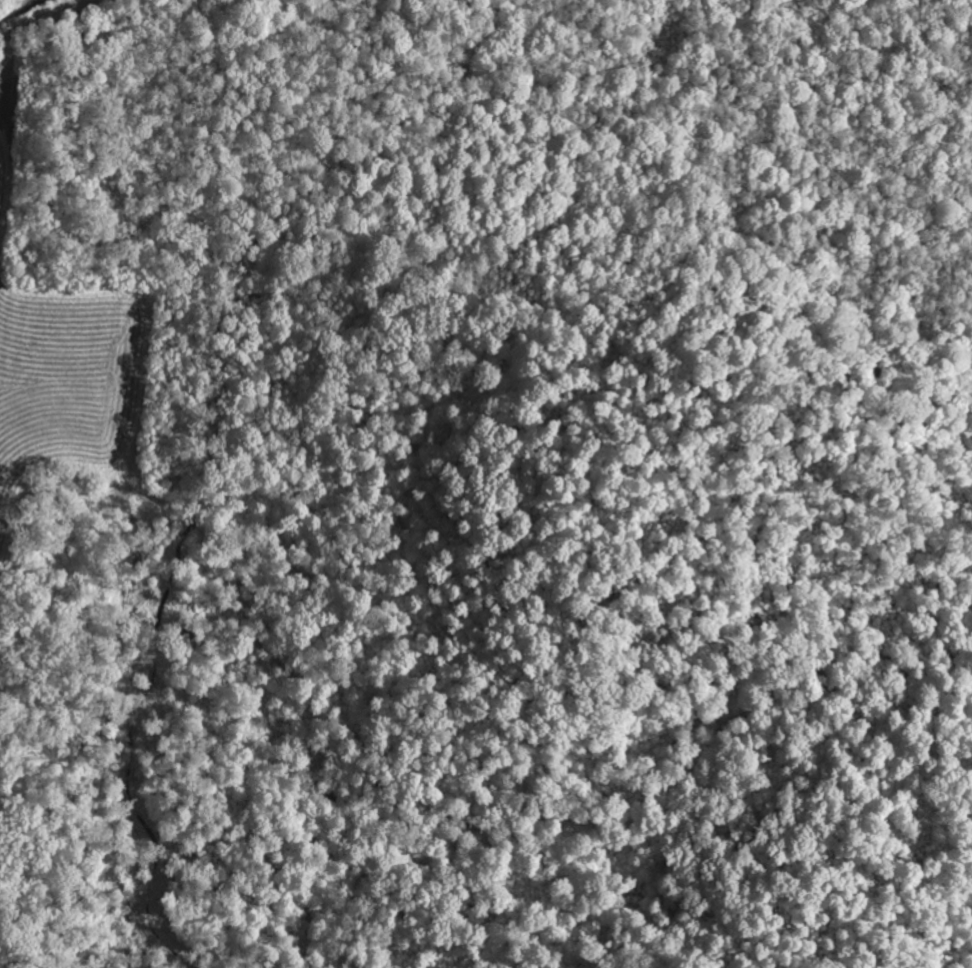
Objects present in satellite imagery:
road: (50, 16)

